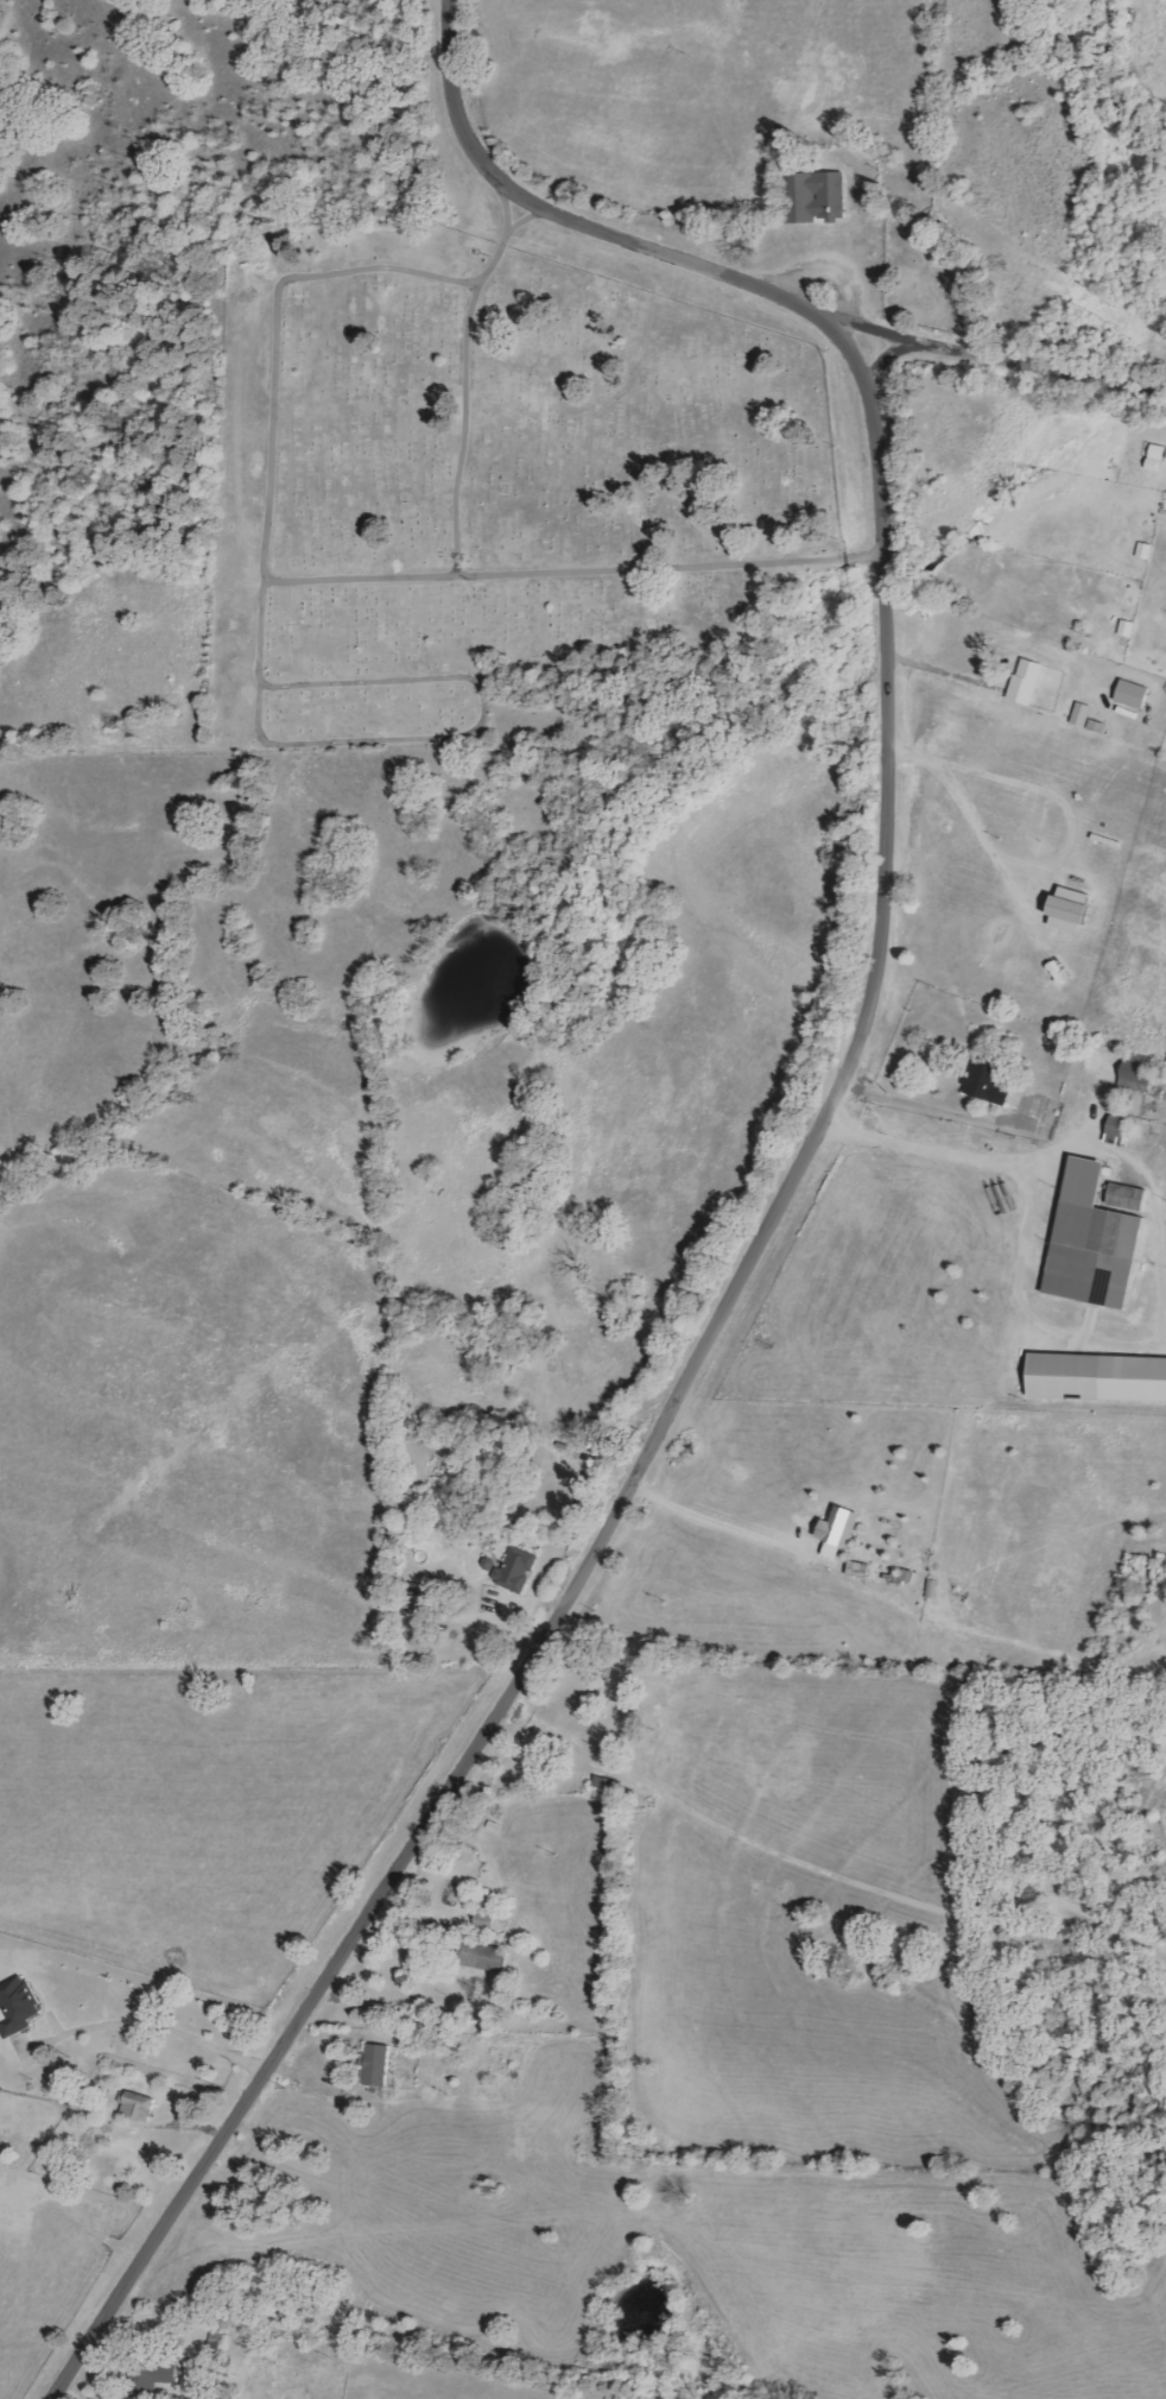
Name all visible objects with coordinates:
power tower: (685, 52)
building: (823, 197)
road: (665, 253)
power tower: (1050, 269)
road: (1095, 383)
park: (496, 495)
road: (578, 574)
road: (945, 673)
building: (1028, 682)
building: (1134, 694)
building: (1083, 714)
building: (1100, 726)
road: (1044, 870)
building: (1071, 909)
building: (1136, 1077)
building: (987, 1081)
road: (939, 1110)
building: (1117, 1130)
building: (1129, 1197)
road: (1157, 1231)
building: (1094, 1242)
building: (1098, 1377)
road: (659, 1425)
road: (724, 1520)
building: (838, 1526)
building: (518, 1570)
road: (826, 1868)
building: (484, 1957)
building: (18, 2007)
building: (378, 2065)
building: (138, 2106)

